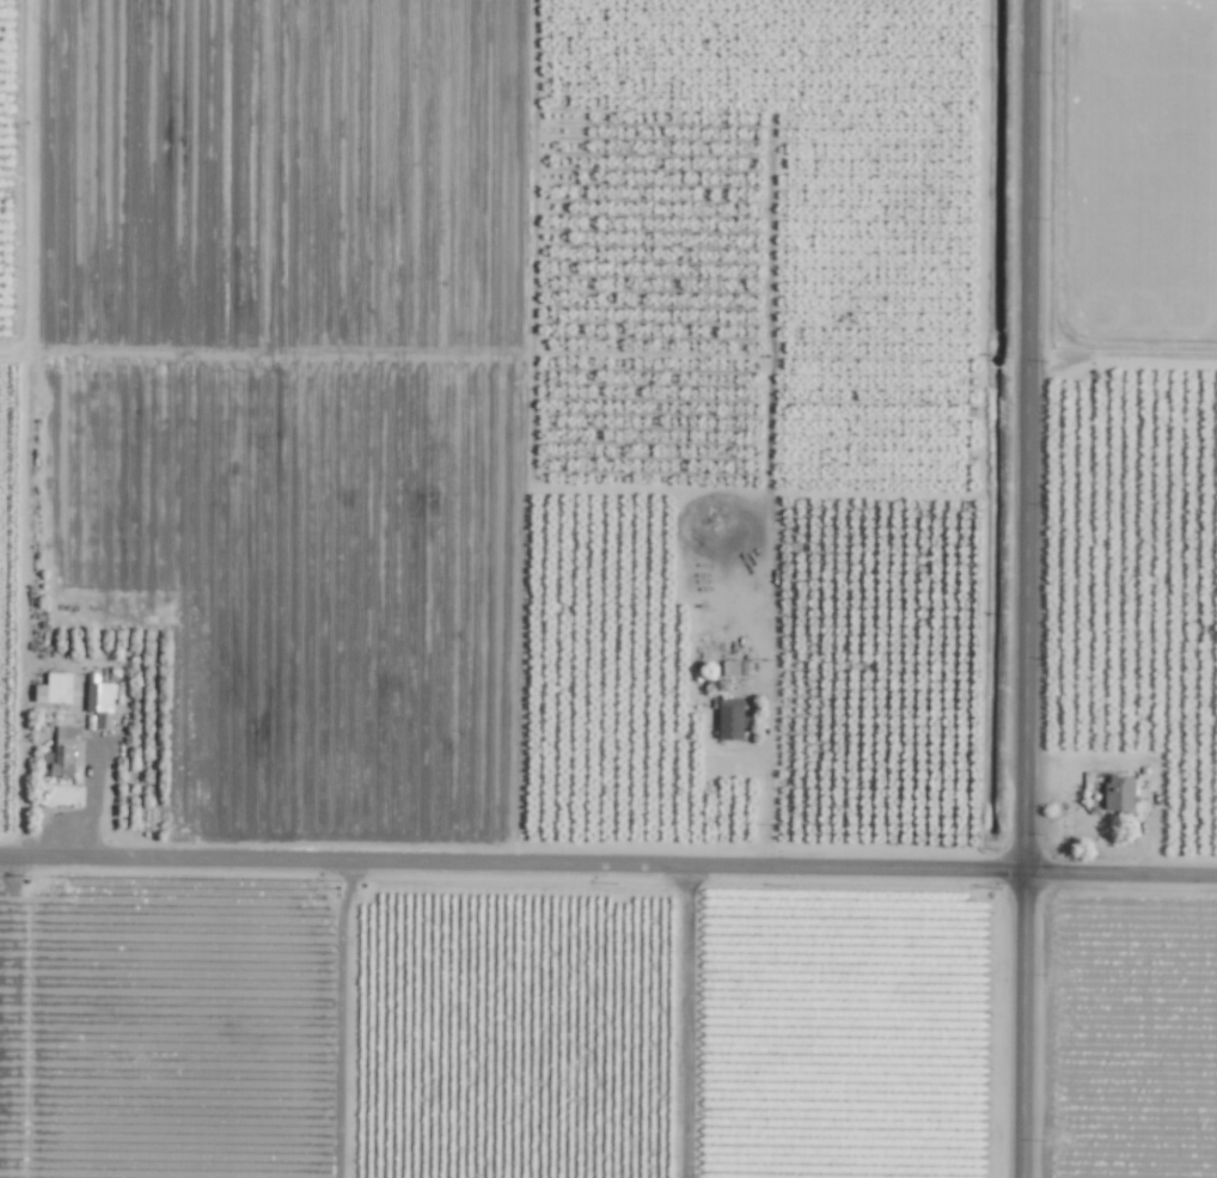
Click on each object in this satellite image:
crop: (1140, 164)
road: (1075, 231)
road: (1025, 588)
building: (735, 667)
building: (54, 689)
road: (767, 689)
building: (99, 703)
building: (729, 719)
building: (60, 753)
building: (1118, 793)
road: (91, 805)
road: (608, 866)
road: (18, 1023)

